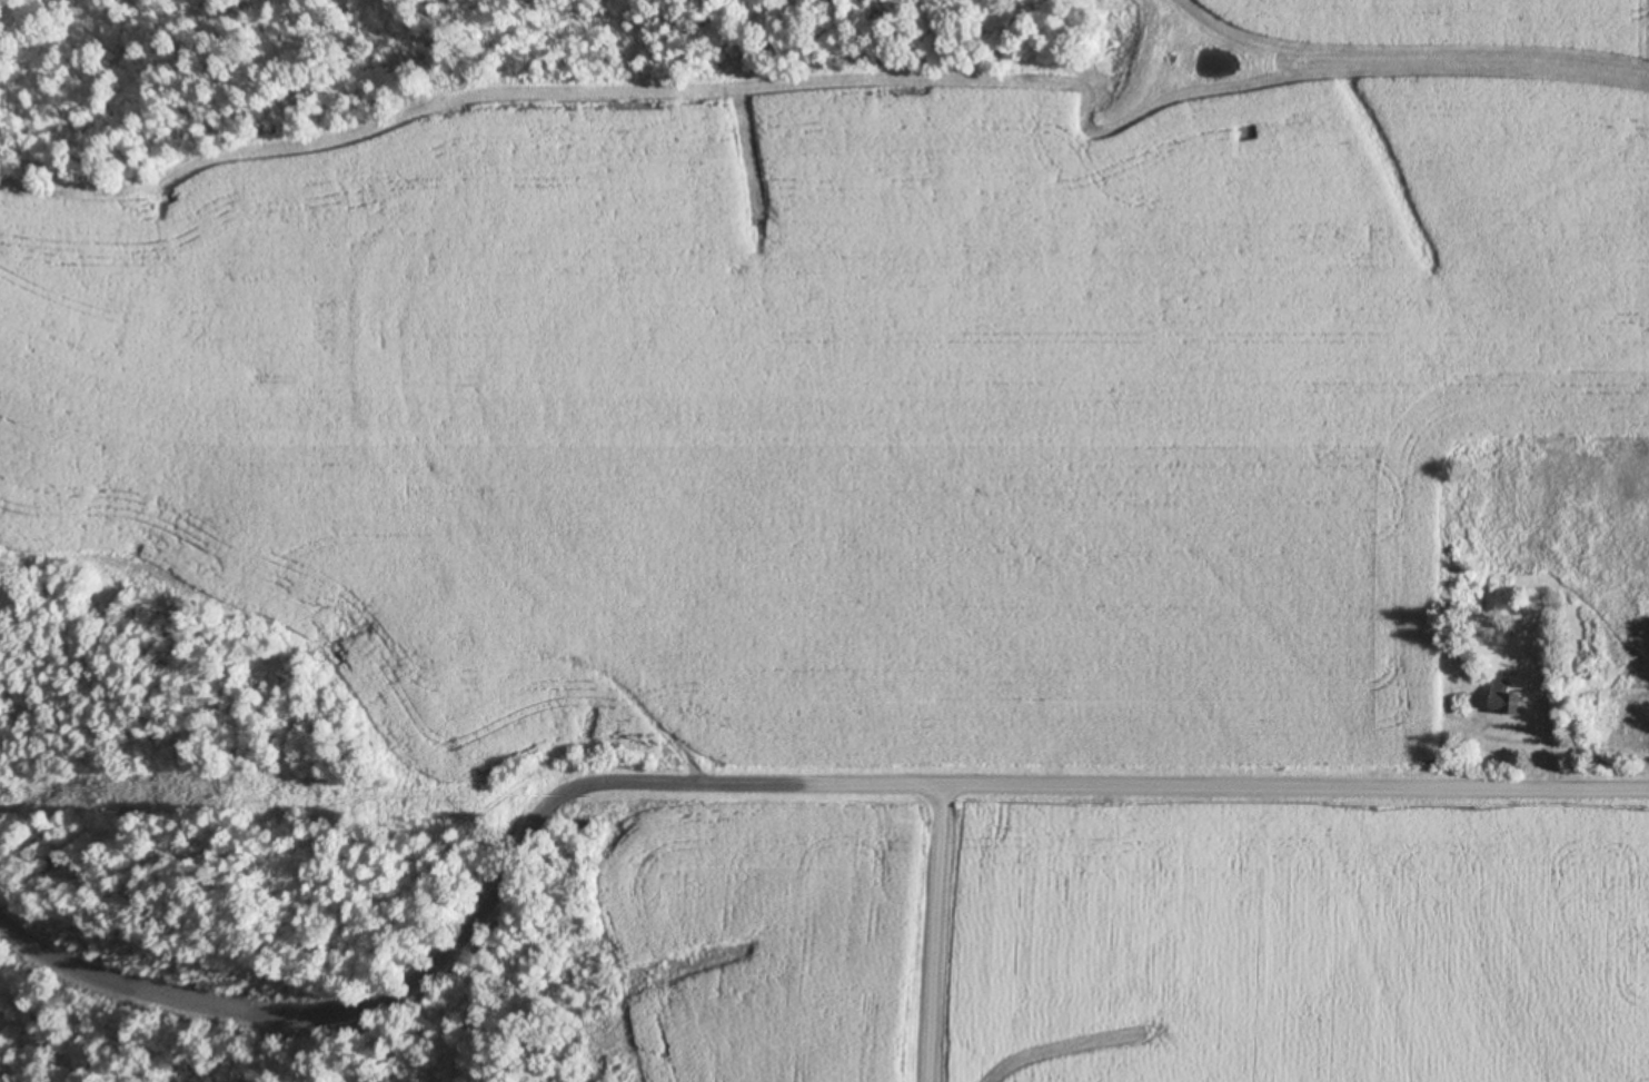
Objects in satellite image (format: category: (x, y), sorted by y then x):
building: (1506, 698)
road: (878, 785)
road: (1295, 786)
road: (936, 933)
road: (431, 967)

